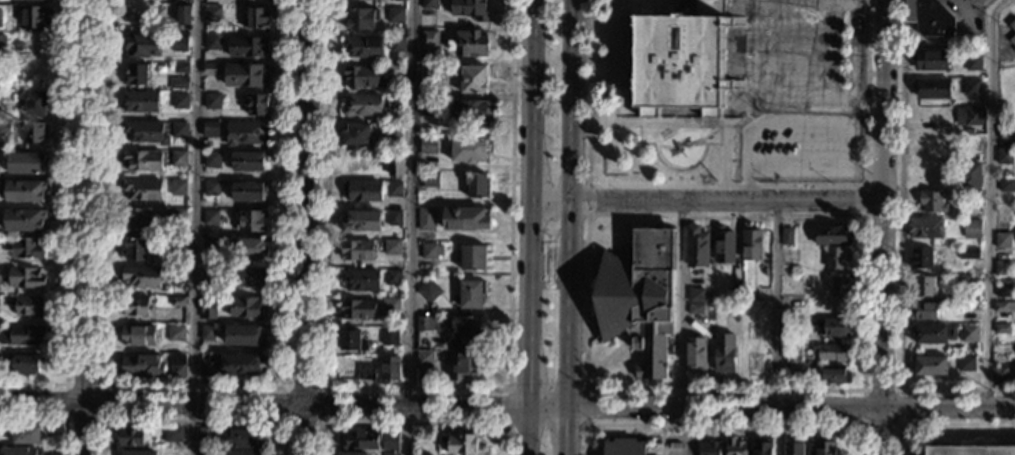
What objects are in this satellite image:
building: (31, 0)
building: (963, 0)
building: (364, 1)
road: (683, 1)
road: (1013, 1)
building: (429, 4)
building: (469, 9)
building: (211, 13)
building: (395, 15)
building: (0, 17)
building: (181, 17)
building: (34, 18)
building: (929, 18)
building: (257, 19)
building: (361, 19)
road: (606, 20)
building: (1012, 25)
building: (430, 39)
building: (1012, 40)
building: (180, 42)
building: (212, 42)
building: (397, 43)
building: (470, 43)
building: (140, 45)
building: (364, 46)
building: (248, 47)
building: (3, 49)
building: (931, 60)
building: (681, 61)
building: (973, 63)
building: (182, 68)
building: (210, 69)
building: (396, 70)
building: (432, 73)
building: (137, 75)
building: (246, 75)
building: (364, 77)
building: (474, 80)
building: (178, 83)
road: (605, 83)
building: (971, 87)
building: (931, 88)
building: (180, 100)
building: (211, 101)
building: (395, 101)
road: (571, 101)
building: (141, 102)
building: (256, 104)
building: (36, 105)
building: (363, 106)
building: (428, 108)
building: (471, 110)
road: (614, 116)
building: (969, 116)
road: (829, 125)
building: (5, 127)
building: (210, 129)
building: (1007, 129)
building: (179, 130)
building: (394, 131)
building: (146, 132)
building: (968, 132)
building: (34, 133)
building: (246, 133)
road: (710, 133)
building: (357, 135)
building: (428, 145)
parking lot: (800, 148)
building: (468, 150)
building: (1004, 156)
building: (177, 158)
building: (212, 159)
building: (142, 160)
building: (247, 161)
building: (26, 163)
building: (394, 164)
building: (972, 174)
building: (430, 180)
building: (1007, 184)
building: (477, 185)
road: (727, 186)
road: (868, 187)
building: (177, 188)
building: (211, 188)
building: (142, 189)
building: (394, 189)
building: (25, 191)
building: (248, 191)
building: (362, 191)
road: (587, 200)
road: (989, 201)
building: (932, 202)
road: (551, 203)
road: (727, 203)
building: (972, 212)
building: (178, 215)
road: (548, 215)
building: (210, 217)
building: (134, 218)
building: (394, 218)
building: (425, 219)
building: (466, 219)
building: (24, 221)
building: (252, 221)
building: (362, 221)
road: (66, 224)
road: (85, 227)
road: (196, 227)
road: (304, 227)
road: (409, 227)
road: (532, 227)
road: (884, 227)
building: (925, 228)
building: (972, 229)
building: (832, 235)
building: (786, 236)
building: (1003, 240)
building: (752, 243)
building: (209, 245)
building: (177, 246)
building: (724, 246)
building: (392, 247)
building: (697, 247)
building: (248, 248)
building: (25, 249)
building: (135, 250)
building: (358, 250)
building: (429, 252)
road: (898, 253)
building: (969, 253)
building: (790, 254)
building: (838, 257)
building: (473, 258)
building: (921, 258)
building: (1002, 268)
building: (177, 274)
building: (209, 276)
building: (140, 277)
building: (248, 277)
building: (393, 277)
building: (27, 278)
building: (361, 280)
building: (970, 282)
building: (843, 285)
building: (924, 286)
building: (429, 290)
building: (1003, 290)
building: (472, 294)
building: (736, 294)
building: (696, 295)
building: (641, 299)
building: (707, 299)
building: (177, 301)
building: (29, 306)
building: (136, 306)
building: (207, 306)
building: (391, 306)
building: (246, 307)
road: (680, 307)
road: (775, 307)
building: (1004, 307)
building: (358, 309)
building: (696, 309)
building: (923, 311)
building: (426, 323)
building: (795, 323)
building: (833, 327)
road: (567, 328)
building: (1002, 328)
building: (471, 331)
building: (206, 333)
building: (176, 334)
building: (934, 334)
building: (969, 334)
building: (243, 335)
building: (23, 336)
building: (138, 336)
building: (389, 338)
road: (625, 338)
building: (350, 340)
building: (724, 352)
building: (832, 352)
building: (695, 353)
building: (796, 353)
building: (425, 358)
building: (27, 363)
building: (966, 363)
building: (240, 364)
building: (930, 365)
building: (142, 366)
building: (178, 366)
building: (466, 366)
building: (206, 367)
building: (390, 368)
building: (365, 371)
building: (796, 372)
building: (835, 374)
building: (998, 375)
road: (600, 376)
road: (192, 386)
road: (318, 388)
road: (414, 389)
road: (861, 390)
road: (862, 390)
road: (507, 412)
road: (49, 420)
road: (99, 420)
road: (190, 421)
road: (411, 424)
road: (939, 424)
road: (507, 425)
road: (722, 425)
road: (688, 433)
building: (25, 434)
building: (173, 434)
building: (205, 435)
building: (129, 436)
building: (245, 439)
building: (363, 440)
road: (662, 440)
building: (390, 441)
building: (461, 443)
building: (735, 446)
building: (762, 446)
building: (825, 446)
building: (625, 447)
building: (794, 447)
building: (709, 448)
building: (971, 450)
building: (23, 451)
building: (206, 452)
building: (243, 452)
building: (138, 453)
building: (352, 453)
building: (389, 454)

